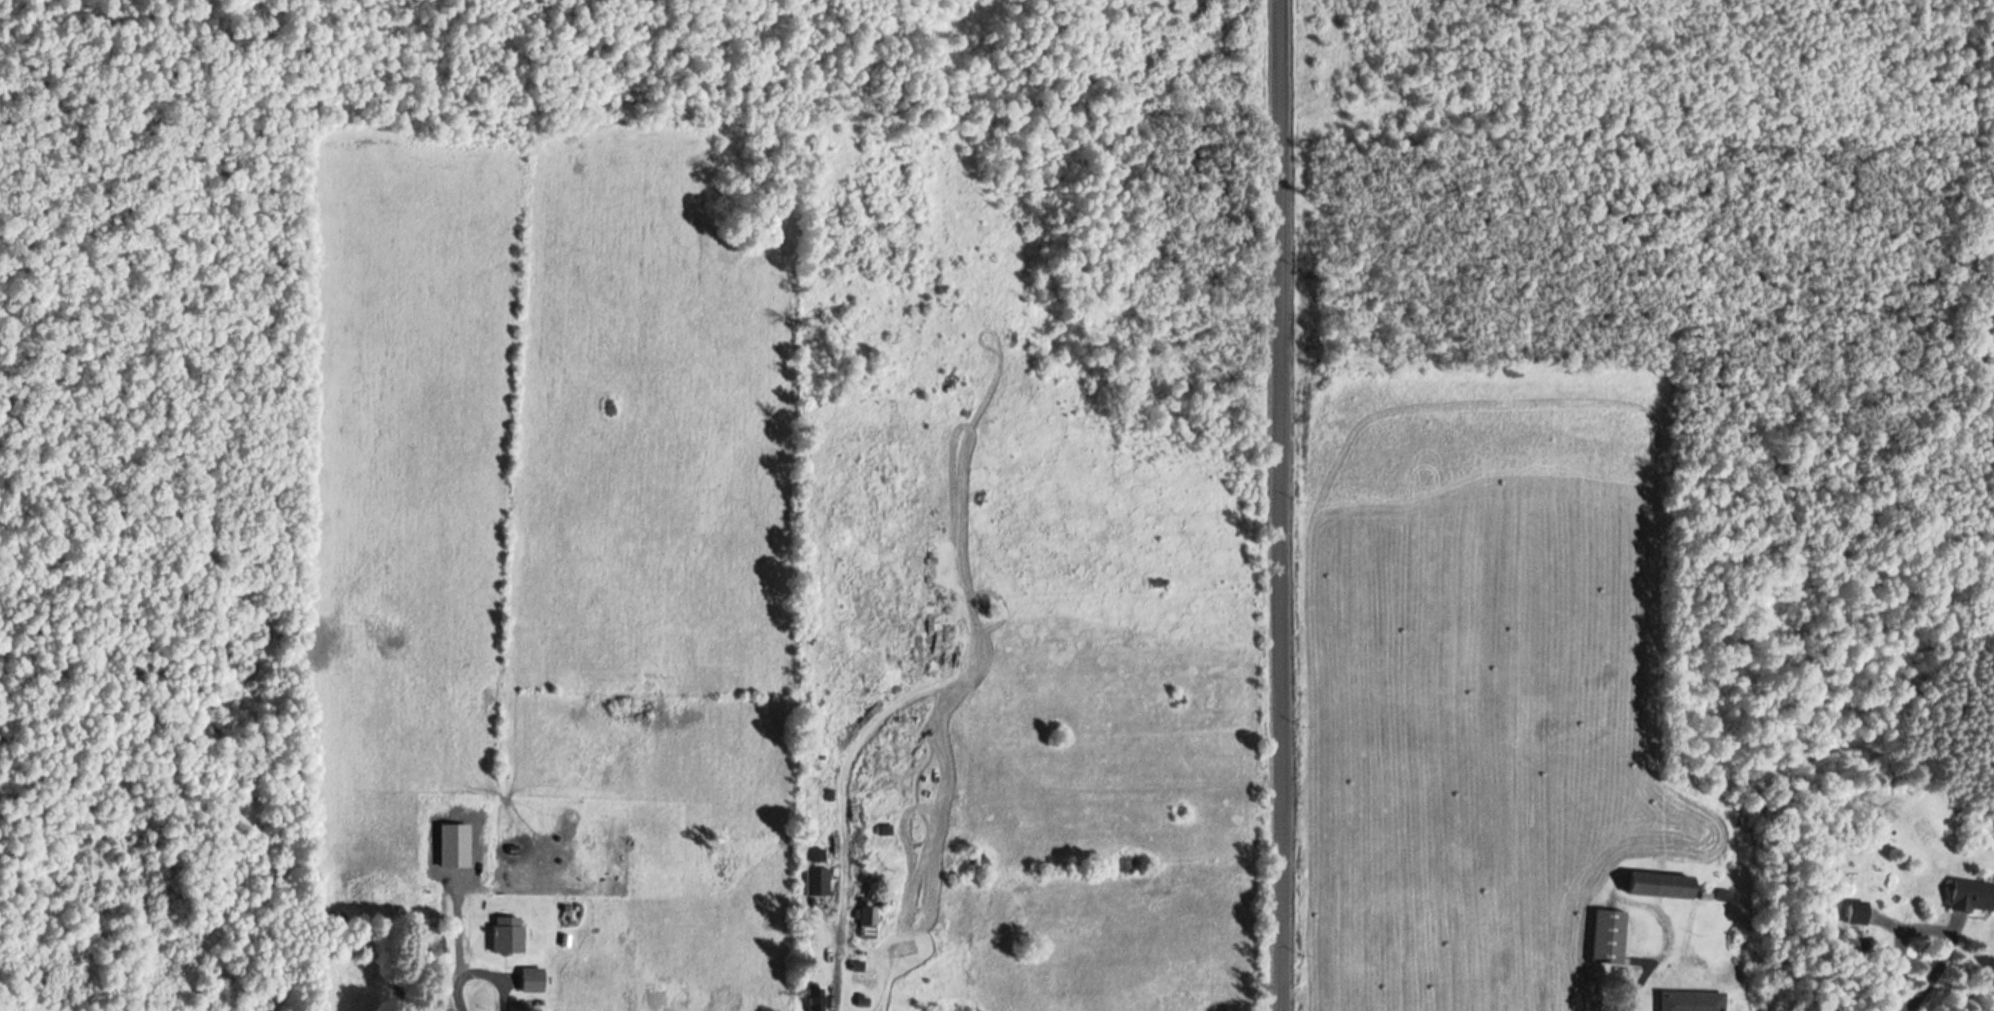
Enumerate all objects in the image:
road: (1290, 505)
building: (810, 882)
building: (1657, 885)
building: (1971, 897)
building: (391, 906)
building: (1857, 913)
building: (861, 919)
building: (1608, 937)
building: (522, 996)
building: (807, 999)
building: (1690, 1001)

